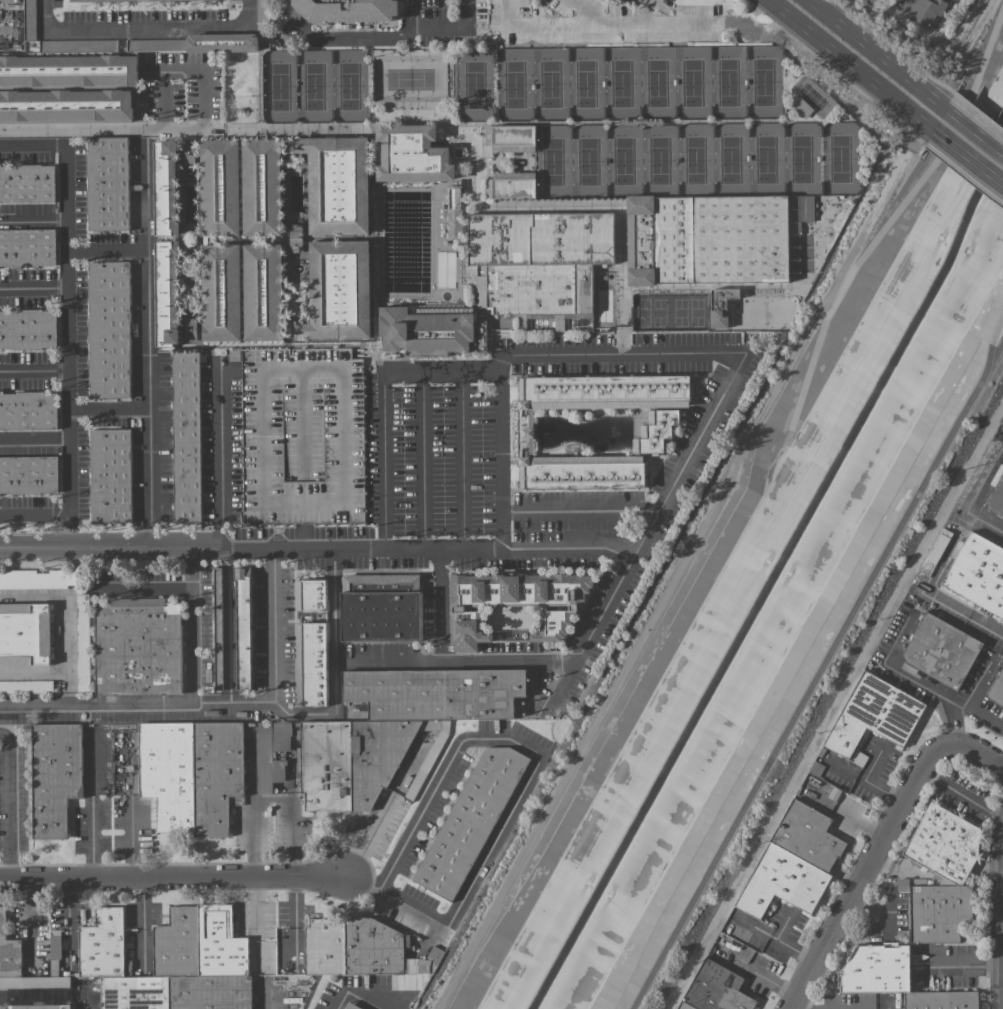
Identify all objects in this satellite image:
building: (120, 0)
building: (620, 2)
building: (347, 10)
road: (592, 10)
building: (923, 10)
road: (644, 12)
road: (249, 14)
road: (46, 16)
building: (30, 19)
road: (591, 25)
road: (148, 30)
road: (393, 37)
building: (222, 42)
building: (156, 45)
road: (965, 48)
road: (877, 54)
road: (849, 65)
road: (203, 69)
building: (69, 70)
building: (68, 107)
road: (82, 128)
road: (974, 129)
road: (286, 133)
building: (509, 137)
road: (32, 144)
building: (412, 154)
road: (968, 157)
building: (27, 183)
building: (107, 183)
building: (337, 183)
building: (511, 185)
building: (262, 187)
building: (166, 188)
building: (220, 188)
building: (454, 197)
road: (881, 200)
road: (33, 218)
building: (712, 237)
building: (27, 246)
road: (105, 248)
building: (537, 260)
road: (33, 286)
building: (339, 290)
building: (221, 292)
building: (263, 292)
building: (167, 293)
building: (719, 308)
road: (66, 327)
building: (28, 329)
building: (108, 329)
building: (190, 329)
building: (425, 330)
road: (146, 350)
road: (619, 352)
road: (997, 359)
road: (33, 370)
road: (442, 371)
building: (604, 391)
building: (28, 409)
road: (107, 411)
building: (655, 430)
building: (186, 436)
road: (33, 440)
road: (220, 457)
road: (689, 457)
road: (385, 459)
road: (424, 459)
road: (463, 459)
road: (501, 459)
building: (582, 471)
building: (28, 474)
building: (110, 474)
building: (301, 474)
road: (973, 498)
building: (996, 499)
road: (710, 504)
road: (581, 511)
road: (33, 512)
road: (68, 531)
road: (317, 549)
building: (979, 573)
building: (38, 578)
river: (767, 582)
road: (146, 588)
building: (311, 595)
road: (66, 598)
road: (441, 604)
building: (381, 607)
road: (606, 609)
building: (467, 618)
road: (190, 625)
road: (274, 625)
building: (243, 628)
road: (335, 631)
building: (24, 633)
road: (903, 640)
building: (82, 643)
building: (137, 646)
building: (942, 650)
road: (457, 661)
building: (311, 664)
road: (50, 669)
road: (823, 675)
building: (26, 686)
building: (997, 689)
road: (171, 702)
road: (976, 711)
building: (874, 715)
building: (382, 730)
building: (191, 773)
building: (54, 776)
road: (528, 778)
road: (963, 795)
road: (8, 805)
road: (91, 808)
road: (256, 810)
road: (292, 820)
building: (469, 820)
building: (945, 844)
road: (880, 845)
building: (794, 862)
road: (172, 880)
building: (902, 884)
building: (940, 912)
road: (256, 922)
building: (741, 935)
building: (55, 947)
building: (170, 961)
building: (20, 966)
building: (877, 970)
building: (408, 983)
building: (716, 989)
road: (352, 997)
road: (92, 998)
building: (941, 1000)
building: (347, 1005)
road: (801, 1005)
road: (891, 1005)
building: (38, 1006)

